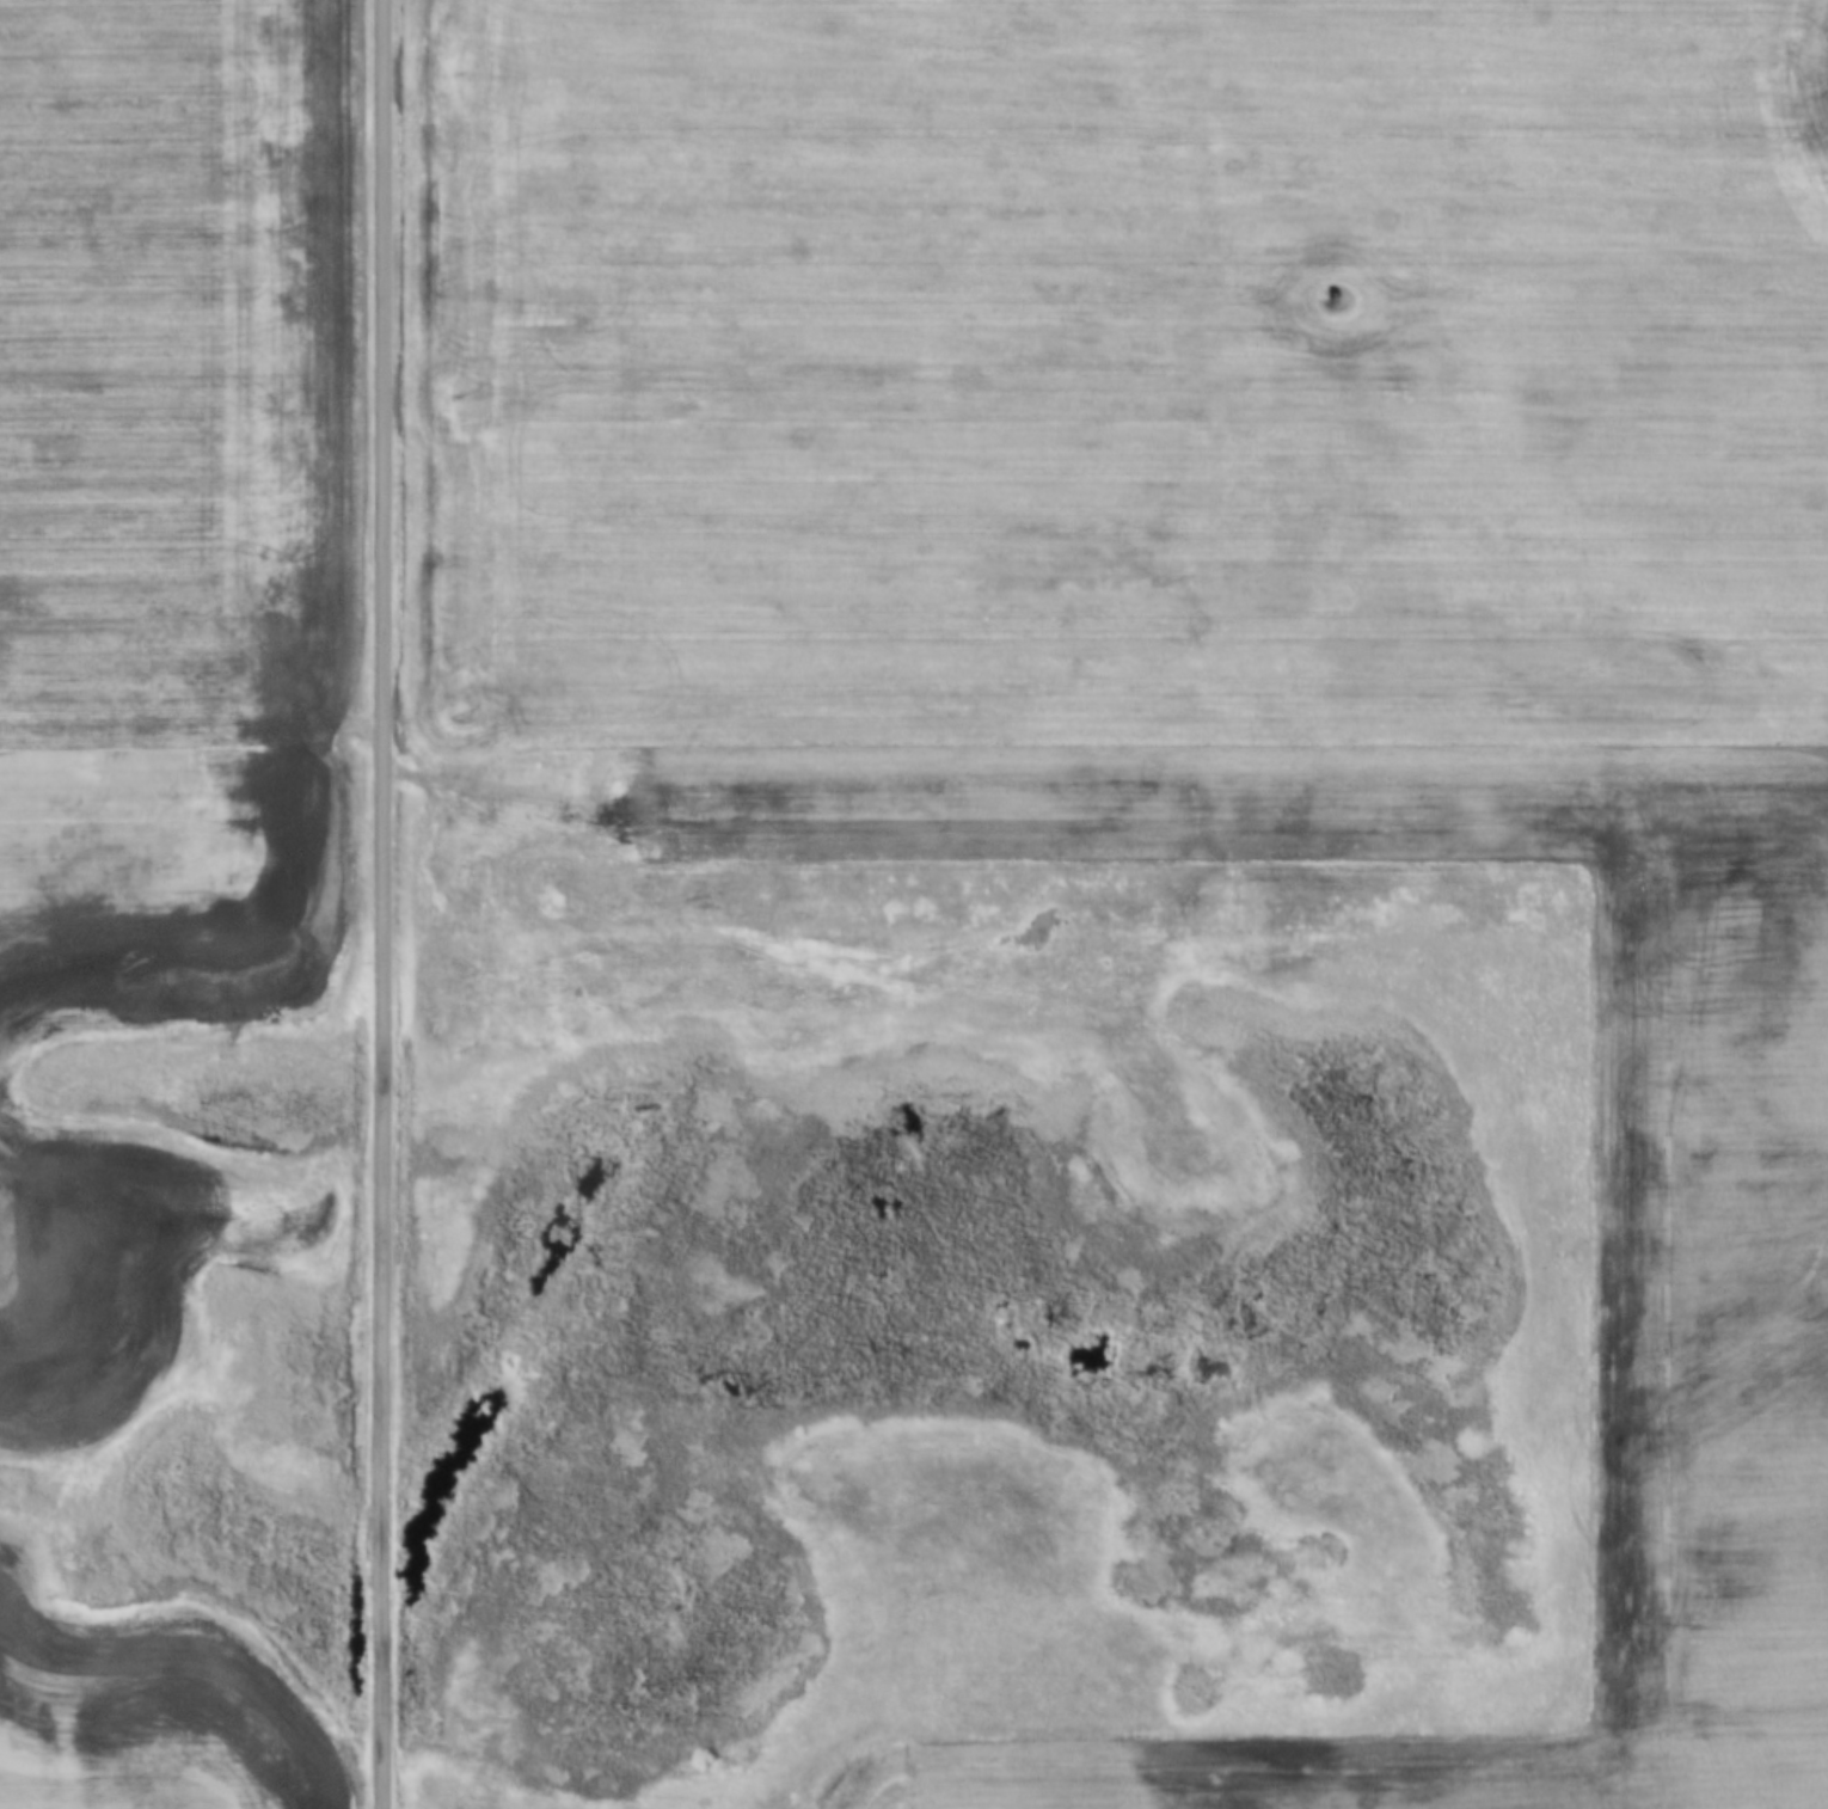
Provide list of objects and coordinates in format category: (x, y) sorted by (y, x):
road: (381, 903)

